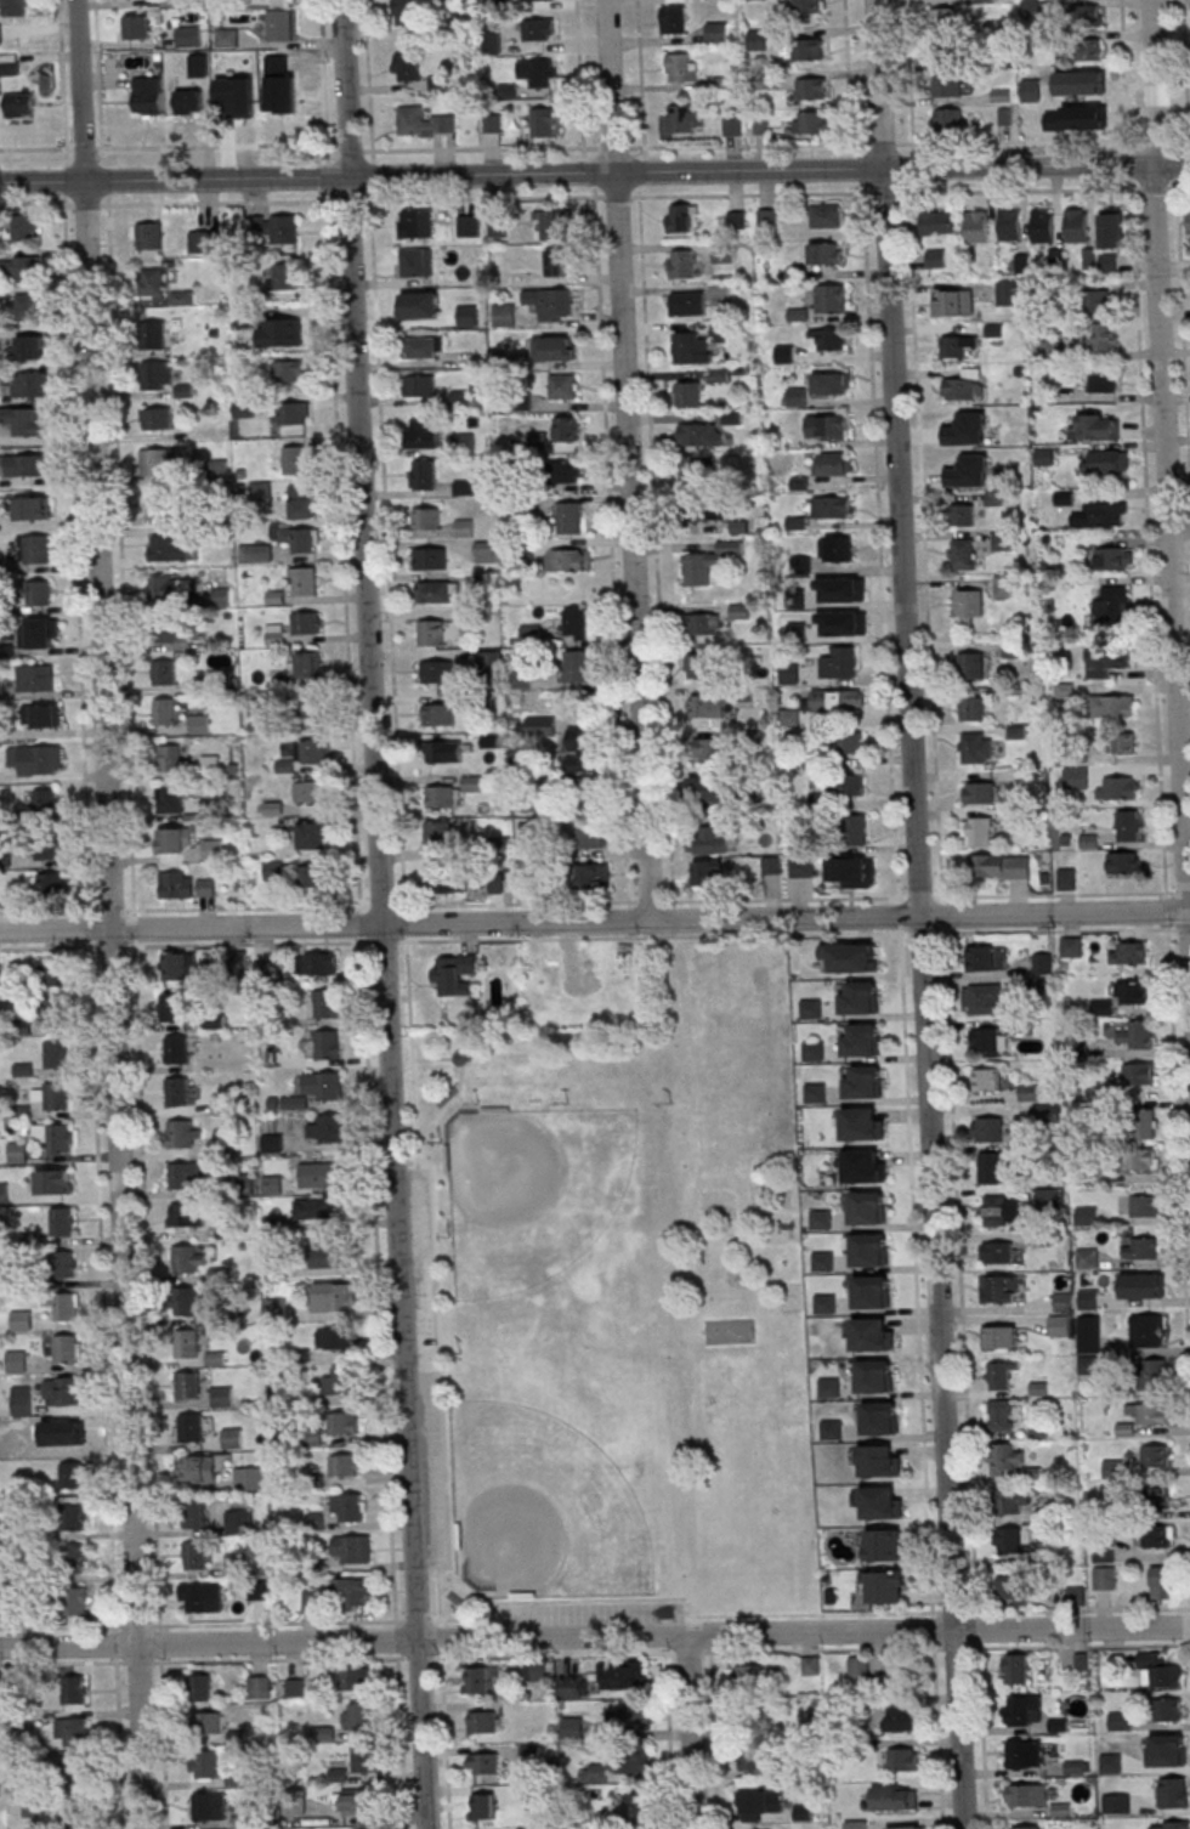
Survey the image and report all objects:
building: (807, 6)
building: (16, 7)
building: (406, 11)
building: (1086, 16)
building: (674, 19)
building: (943, 19)
building: (280, 24)
building: (138, 27)
building: (539, 28)
building: (718, 32)
building: (0, 34)
building: (189, 36)
building: (227, 36)
building: (489, 39)
building: (806, 50)
building: (1086, 51)
building: (946, 53)
building: (10, 63)
building: (199, 64)
building: (407, 66)
building: (681, 66)
road: (1186, 69)
road: (848, 72)
road: (909, 72)
building: (543, 73)
road: (580, 73)
road: (641, 73)
building: (947, 87)
building: (812, 90)
building: (148, 95)
building: (240, 97)
building: (280, 100)
building: (189, 102)
building: (1087, 102)
building: (1032, 104)
building: (679, 118)
building: (544, 120)
building: (424, 121)
building: (948, 121)
building: (812, 123)
building: (732, 125)
road: (1161, 137)
road: (1181, 137)
road: (1021, 140)
road: (883, 145)
road: (168, 146)
road: (748, 146)
road: (350, 147)
road: (481, 147)
road: (613, 147)
road: (594, 174)
road: (1178, 186)
road: (1156, 188)
road: (1021, 189)
road: (884, 192)
road: (750, 193)
road: (616, 196)
road: (482, 198)
road: (347, 199)
road: (217, 203)
road: (36, 204)
road: (86, 204)
building: (828, 215)
building: (682, 217)
building: (737, 219)
building: (1188, 220)
building: (416, 222)
building: (551, 222)
building: (936, 222)
building: (1010, 223)
building: (1078, 223)
building: (976, 225)
building: (1043, 225)
building: (467, 226)
building: (25, 227)
building: (1112, 227)
building: (283, 230)
building: (149, 236)
building: (205, 240)
building: (724, 253)
building: (826, 253)
building: (936, 257)
building: (416, 262)
building: (559, 262)
building: (680, 264)
building: (21, 268)
building: (285, 276)
building: (151, 282)
building: (1008, 293)
building: (831, 298)
building: (1101, 300)
building: (953, 301)
building: (552, 302)
building: (688, 302)
building: (410, 305)
building: (29, 306)
building: (504, 315)
building: (280, 332)
building: (154, 334)
building: (1104, 336)
building: (828, 339)
building: (956, 345)
building: (419, 346)
building: (30, 347)
building: (554, 347)
building: (692, 347)
building: (1052, 349)
building: (786, 355)
building: (288, 370)
building: (158, 375)
building: (1104, 380)
building: (832, 384)
building: (962, 384)
building: (28, 385)
building: (420, 385)
building: (563, 385)
building: (688, 393)
building: (463, 397)
building: (797, 397)
building: (294, 412)
building: (157, 418)
building: (25, 420)
building: (1096, 426)
building: (567, 427)
building: (827, 427)
building: (967, 429)
building: (423, 432)
building: (701, 435)
road: (1167, 454)
building: (295, 460)
road: (629, 460)
building: (160, 462)
building: (1105, 462)
building: (833, 463)
building: (25, 465)
building: (969, 470)
building: (568, 471)
building: (697, 471)
building: (424, 474)
building: (469, 487)
building: (301, 500)
building: (166, 505)
building: (832, 506)
building: (32, 508)
building: (702, 509)
building: (1107, 513)
building: (962, 514)
building: (426, 517)
building: (571, 517)
building: (301, 538)
building: (1004, 540)
building: (35, 548)
building: (166, 548)
building: (835, 548)
building: (484, 551)
building: (255, 553)
building: (963, 553)
building: (429, 557)
building: (1113, 557)
building: (567, 560)
building: (708, 561)
building: (305, 581)
building: (1005, 585)
building: (166, 589)
building: (222, 590)
building: (437, 590)
building: (40, 593)
building: (968, 605)
building: (1113, 606)
building: (739, 611)
building: (840, 613)
building: (306, 623)
building: (577, 624)
building: (703, 624)
building: (432, 632)
building: (39, 633)
building: (174, 633)
building: (274, 634)
building: (1106, 658)
building: (489, 659)
building: (840, 663)
building: (698, 666)
building: (971, 666)
building: (577, 667)
building: (308, 668)
building: (437, 672)
building: (164, 673)
building: (280, 674)
building: (789, 674)
building: (35, 679)
building: (835, 701)
building: (708, 706)
building: (1113, 706)
building: (973, 708)
building: (164, 712)
building: (443, 714)
building: (39, 717)
building: (790, 718)
building: (199, 724)
building: (540, 724)
building: (850, 742)
building: (1121, 742)
building: (976, 747)
building: (584, 749)
building: (311, 751)
building: (438, 751)
building: (710, 751)
building: (170, 758)
building: (35, 760)
building: (1076, 777)
building: (854, 783)
building: (1118, 788)
building: (312, 791)
building: (588, 792)
building: (709, 792)
building: (977, 792)
building: (440, 795)
building: (170, 799)
building: (45, 803)
building: (1128, 825)
building: (855, 828)
building: (977, 831)
building: (440, 833)
building: (313, 834)
building: (593, 837)
building: (175, 839)
building: (707, 840)
building: (47, 848)
building: (1123, 861)
building: (771, 865)
building: (800, 866)
building: (999, 866)
building: (274, 870)
building: (850, 872)
building: (708, 874)
building: (312, 876)
building: (595, 876)
building: (449, 880)
building: (50, 884)
building: (177, 884)
building: (497, 885)
building: (206, 888)
road: (595, 901)
road: (920, 913)
road: (109, 914)
road: (384, 914)
road: (595, 921)
road: (595, 936)
building: (1128, 952)
building: (849, 956)
building: (980, 958)
building: (238, 962)
building: (593, 962)
building: (317, 963)
building: (180, 964)
building: (53, 973)
building: (454, 973)
building: (0, 974)
building: (1132, 992)
building: (858, 997)
building: (986, 1001)
building: (325, 1004)
building: (176, 1007)
building: (811, 1008)
building: (56, 1012)
building: (1137, 1035)
building: (861, 1038)
building: (988, 1041)
building: (327, 1046)
building: (177, 1048)
building: (814, 1051)
building: (57, 1054)
road: (432, 1059)
road: (458, 1066)
building: (1137, 1074)
road: (460, 1077)
building: (988, 1080)
building: (863, 1082)
building: (321, 1088)
building: (177, 1092)
building: (815, 1093)
building: (53, 1095)
stadium: (447, 1097)
building: (1047, 1112)
building: (860, 1123)
building: (1143, 1123)
building: (988, 1128)
building: (325, 1131)
building: (181, 1134)
building: (56, 1136)
building: (273, 1144)
building: (1140, 1159)
building: (863, 1166)
building: (992, 1167)
building: (187, 1176)
building: (319, 1176)
building: (53, 1182)
building: (1144, 1205)
building: (867, 1207)
building: (314, 1210)
park: (555, 1210)
building: (1001, 1210)
building: (187, 1214)
building: (821, 1221)
building: (62, 1222)
building: (1141, 1247)
building: (871, 1251)
building: (997, 1252)
building: (329, 1255)
building: (188, 1258)
building: (63, 1265)
building: (1002, 1287)
building: (872, 1292)
building: (333, 1298)
building: (186, 1302)
building: (63, 1307)
park: (622, 1307)
building: (22, 1320)
building: (1059, 1326)
park: (730, 1330)
building: (1147, 1331)
building: (1088, 1336)
building: (873, 1337)
building: (1001, 1337)
building: (334, 1340)
building: (187, 1343)
building: (66, 1349)
parking lot: (421, 1367)
building: (1001, 1374)
building: (1155, 1374)
building: (874, 1376)
building: (339, 1382)
building: (189, 1387)
building: (64, 1392)
building: (223, 1397)
building: (1150, 1412)
building: (1001, 1416)
building: (880, 1417)
building: (342, 1423)
building: (191, 1428)
building: (831, 1431)
building: (69, 1433)
building: (232, 1439)
building: (34, 1442)
building: (1156, 1455)
building: (1004, 1456)
building: (878, 1460)
building: (345, 1465)
building: (197, 1471)
building: (72, 1474)
park: (568, 1476)
building: (1160, 1497)
building: (880, 1502)
building: (1010, 1502)
building: (348, 1507)
building: (195, 1513)
building: (73, 1517)
building: (1157, 1536)
building: (1010, 1541)
building: (885, 1544)
building: (352, 1548)
building: (195, 1555)
building: (74, 1558)
building: (1104, 1579)
building: (1162, 1582)
building: (886, 1586)
building: (1015, 1589)
building: (353, 1591)
building: (204, 1597)
building: (75, 1602)
road: (595, 1616)
parking lot: (586, 1619)
road: (595, 1637)
road: (595, 1653)
building: (858, 1666)
building: (1015, 1667)
building: (537, 1670)
building: (1158, 1670)
building: (622, 1675)
building: (896, 1676)
building: (748, 1677)
building: (355, 1678)
building: (477, 1680)
building: (573, 1686)
building: (259, 1687)
building: (202, 1688)
building: (73, 1691)
building: (1168, 1709)
building: (1022, 1710)
building: (358, 1715)
building: (748, 1715)
building: (899, 1717)
building: (482, 1721)
building: (634, 1721)
building: (1121, 1721)
building: (206, 1723)
building: (572, 1728)
road: (691, 1732)
building: (70, 1733)
building: (1024, 1754)
building: (754, 1756)
building: (363, 1757)
building: (902, 1759)
building: (1171, 1759)
building: (635, 1761)
building: (483, 1763)
building: (205, 1765)
building: (593, 1773)
building: (1173, 1791)
building: (1026, 1795)
building: (895, 1797)
building: (357, 1801)
building: (636, 1803)
building: (759, 1803)
building: (482, 1805)
building: (209, 1807)
building: (83, 1818)
building: (856, 1824)
building: (1171, 1824)
building: (905, 1828)
building: (1026, 1828)

